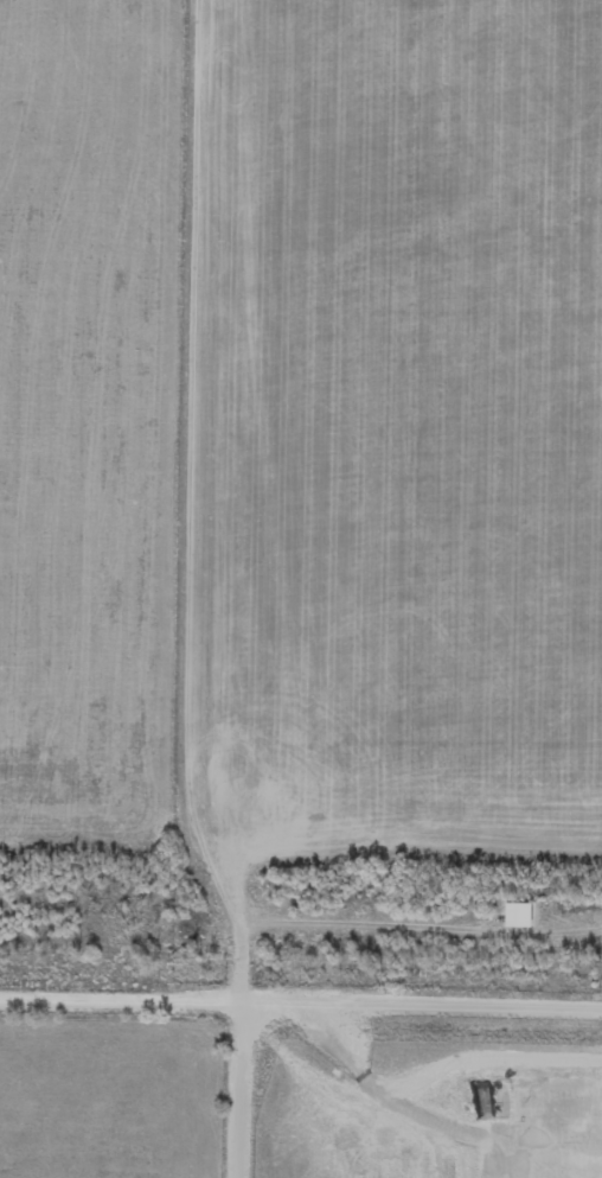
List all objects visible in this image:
building: (514, 917)
road: (122, 996)
road: (422, 1002)
road: (242, 1089)

